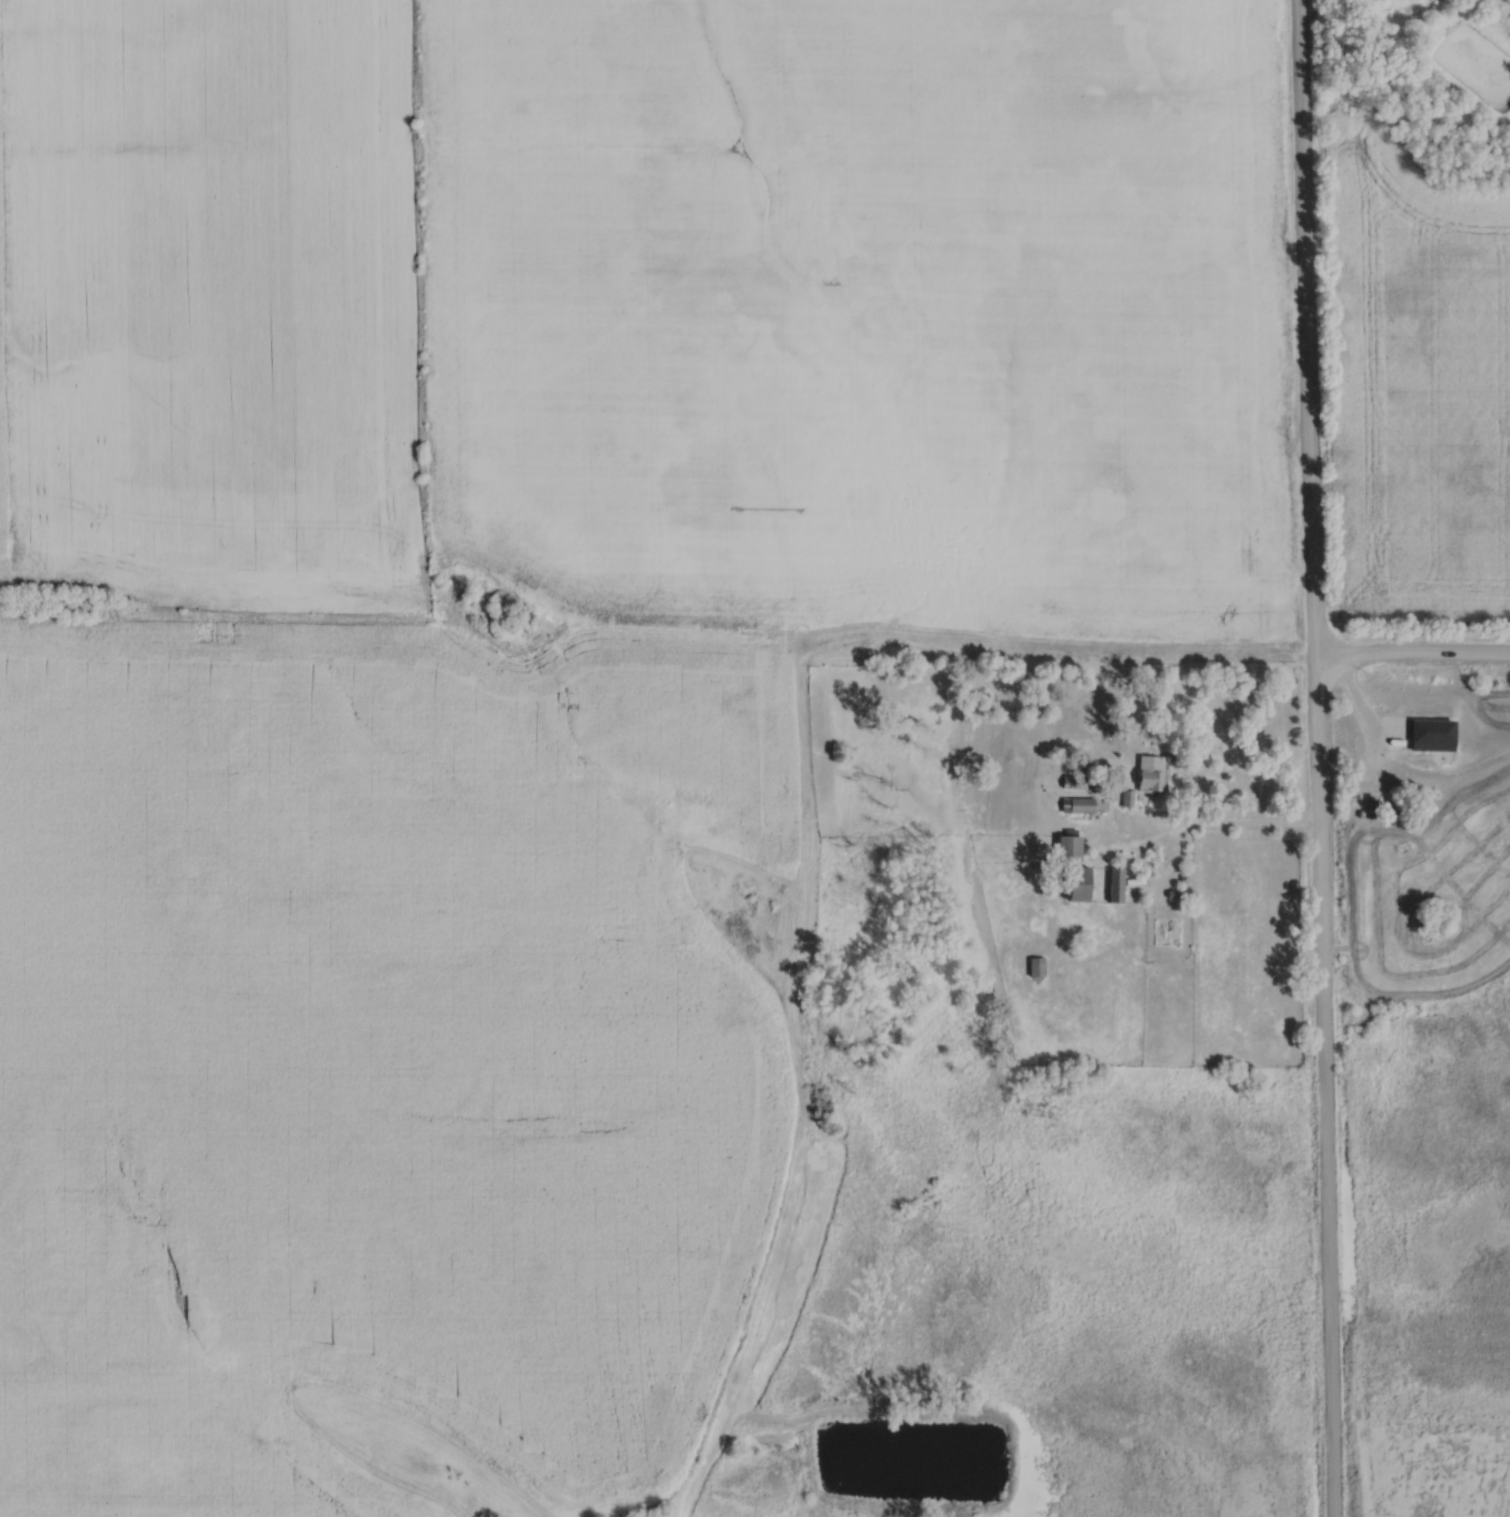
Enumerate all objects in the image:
road: (1413, 651)
road: (1319, 758)
building: (1155, 772)
building: (1131, 798)
building: (1082, 804)
road: (1229, 822)
building: (1074, 847)
building: (1088, 884)
building: (1121, 885)
building: (1042, 966)

